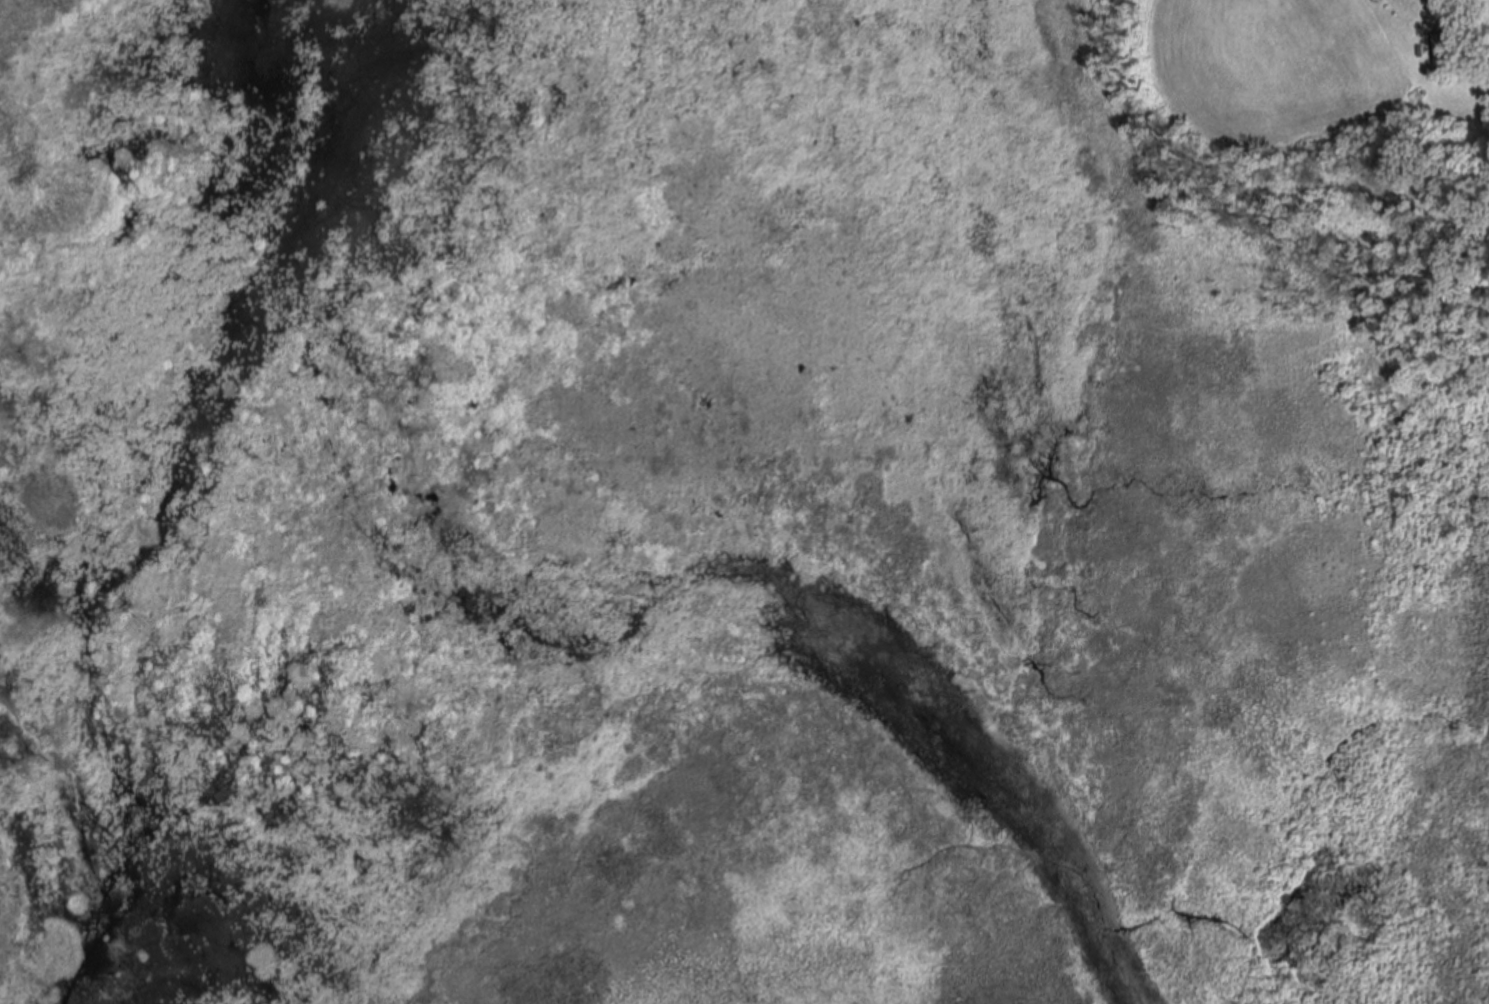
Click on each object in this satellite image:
building: (1450, 47)

